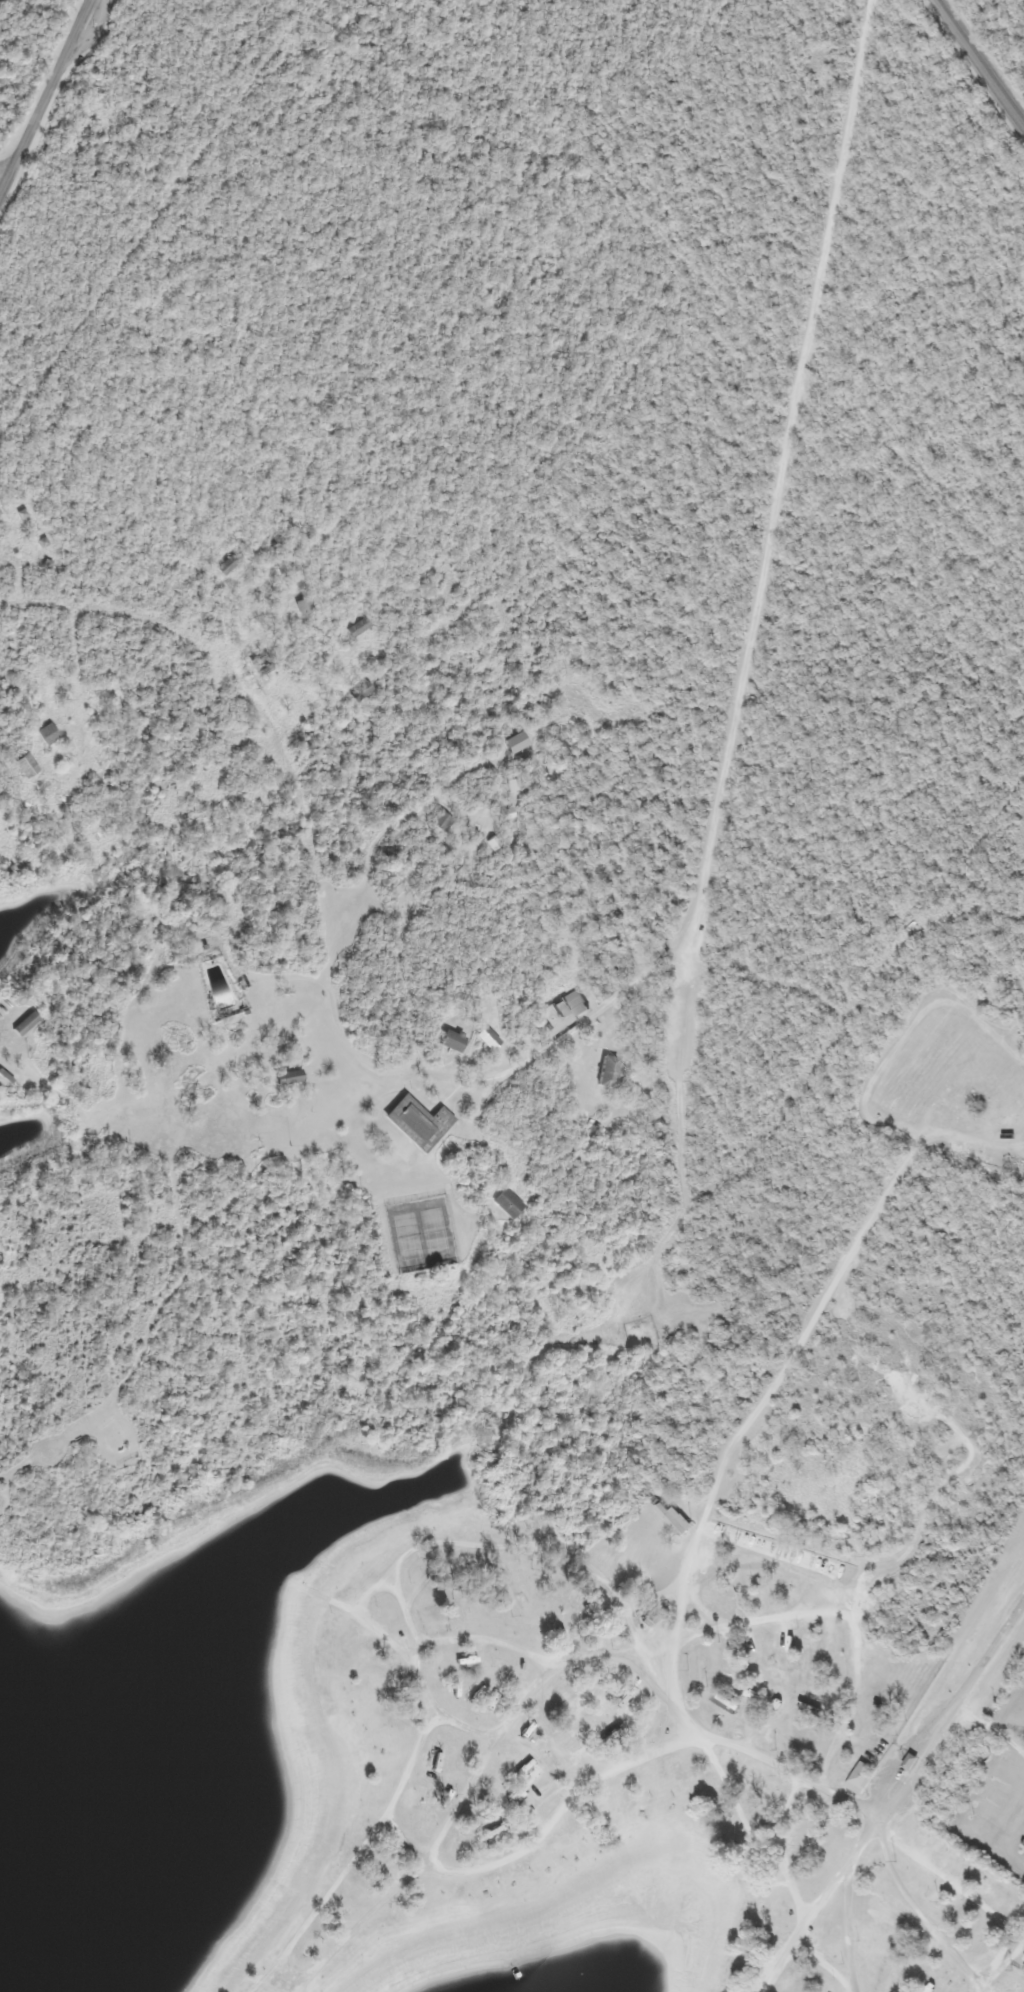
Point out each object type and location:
road: (89, 32)
road: (980, 63)
road: (44, 95)
park: (102, 148)
road: (3, 175)
park: (818, 183)
road: (777, 480)
building: (301, 608)
building: (354, 629)
building: (44, 735)
building: (512, 743)
building: (23, 766)
park: (995, 886)
road: (322, 939)
building: (217, 984)
building: (568, 1006)
building: (22, 1024)
building: (484, 1039)
building: (449, 1041)
building: (604, 1072)
road: (675, 1079)
building: (284, 1080)
building: (414, 1123)
building: (504, 1203)
building: (670, 1518)
road: (527, 1543)
road: (359, 1593)
building: (549, 1602)
building: (462, 1611)
road: (815, 1615)
road: (424, 1645)
building: (435, 1662)
building: (620, 1697)
road: (952, 1704)
road: (742, 1749)
building: (858, 1778)
building: (989, 1780)
road: (575, 1791)
building: (517, 1793)
building: (976, 1826)
building: (489, 1833)
building: (1021, 1847)
road: (776, 1849)
road: (845, 1896)
road: (912, 1906)
road: (805, 1920)
road: (355, 1926)
building: (1023, 1960)
road: (824, 1963)

